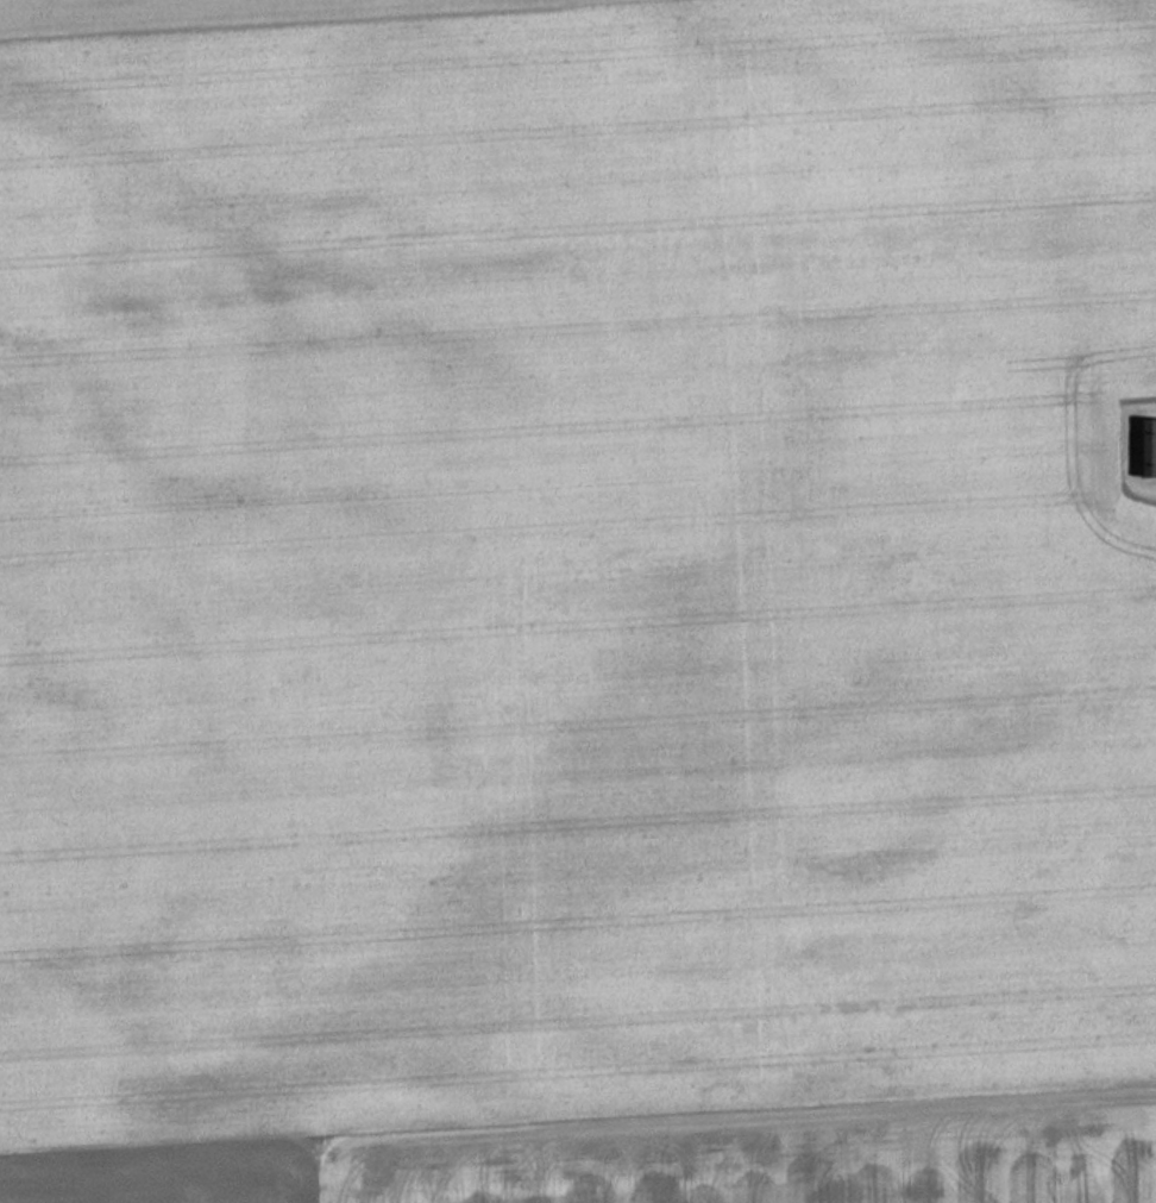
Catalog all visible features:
building: (1151, 447)

